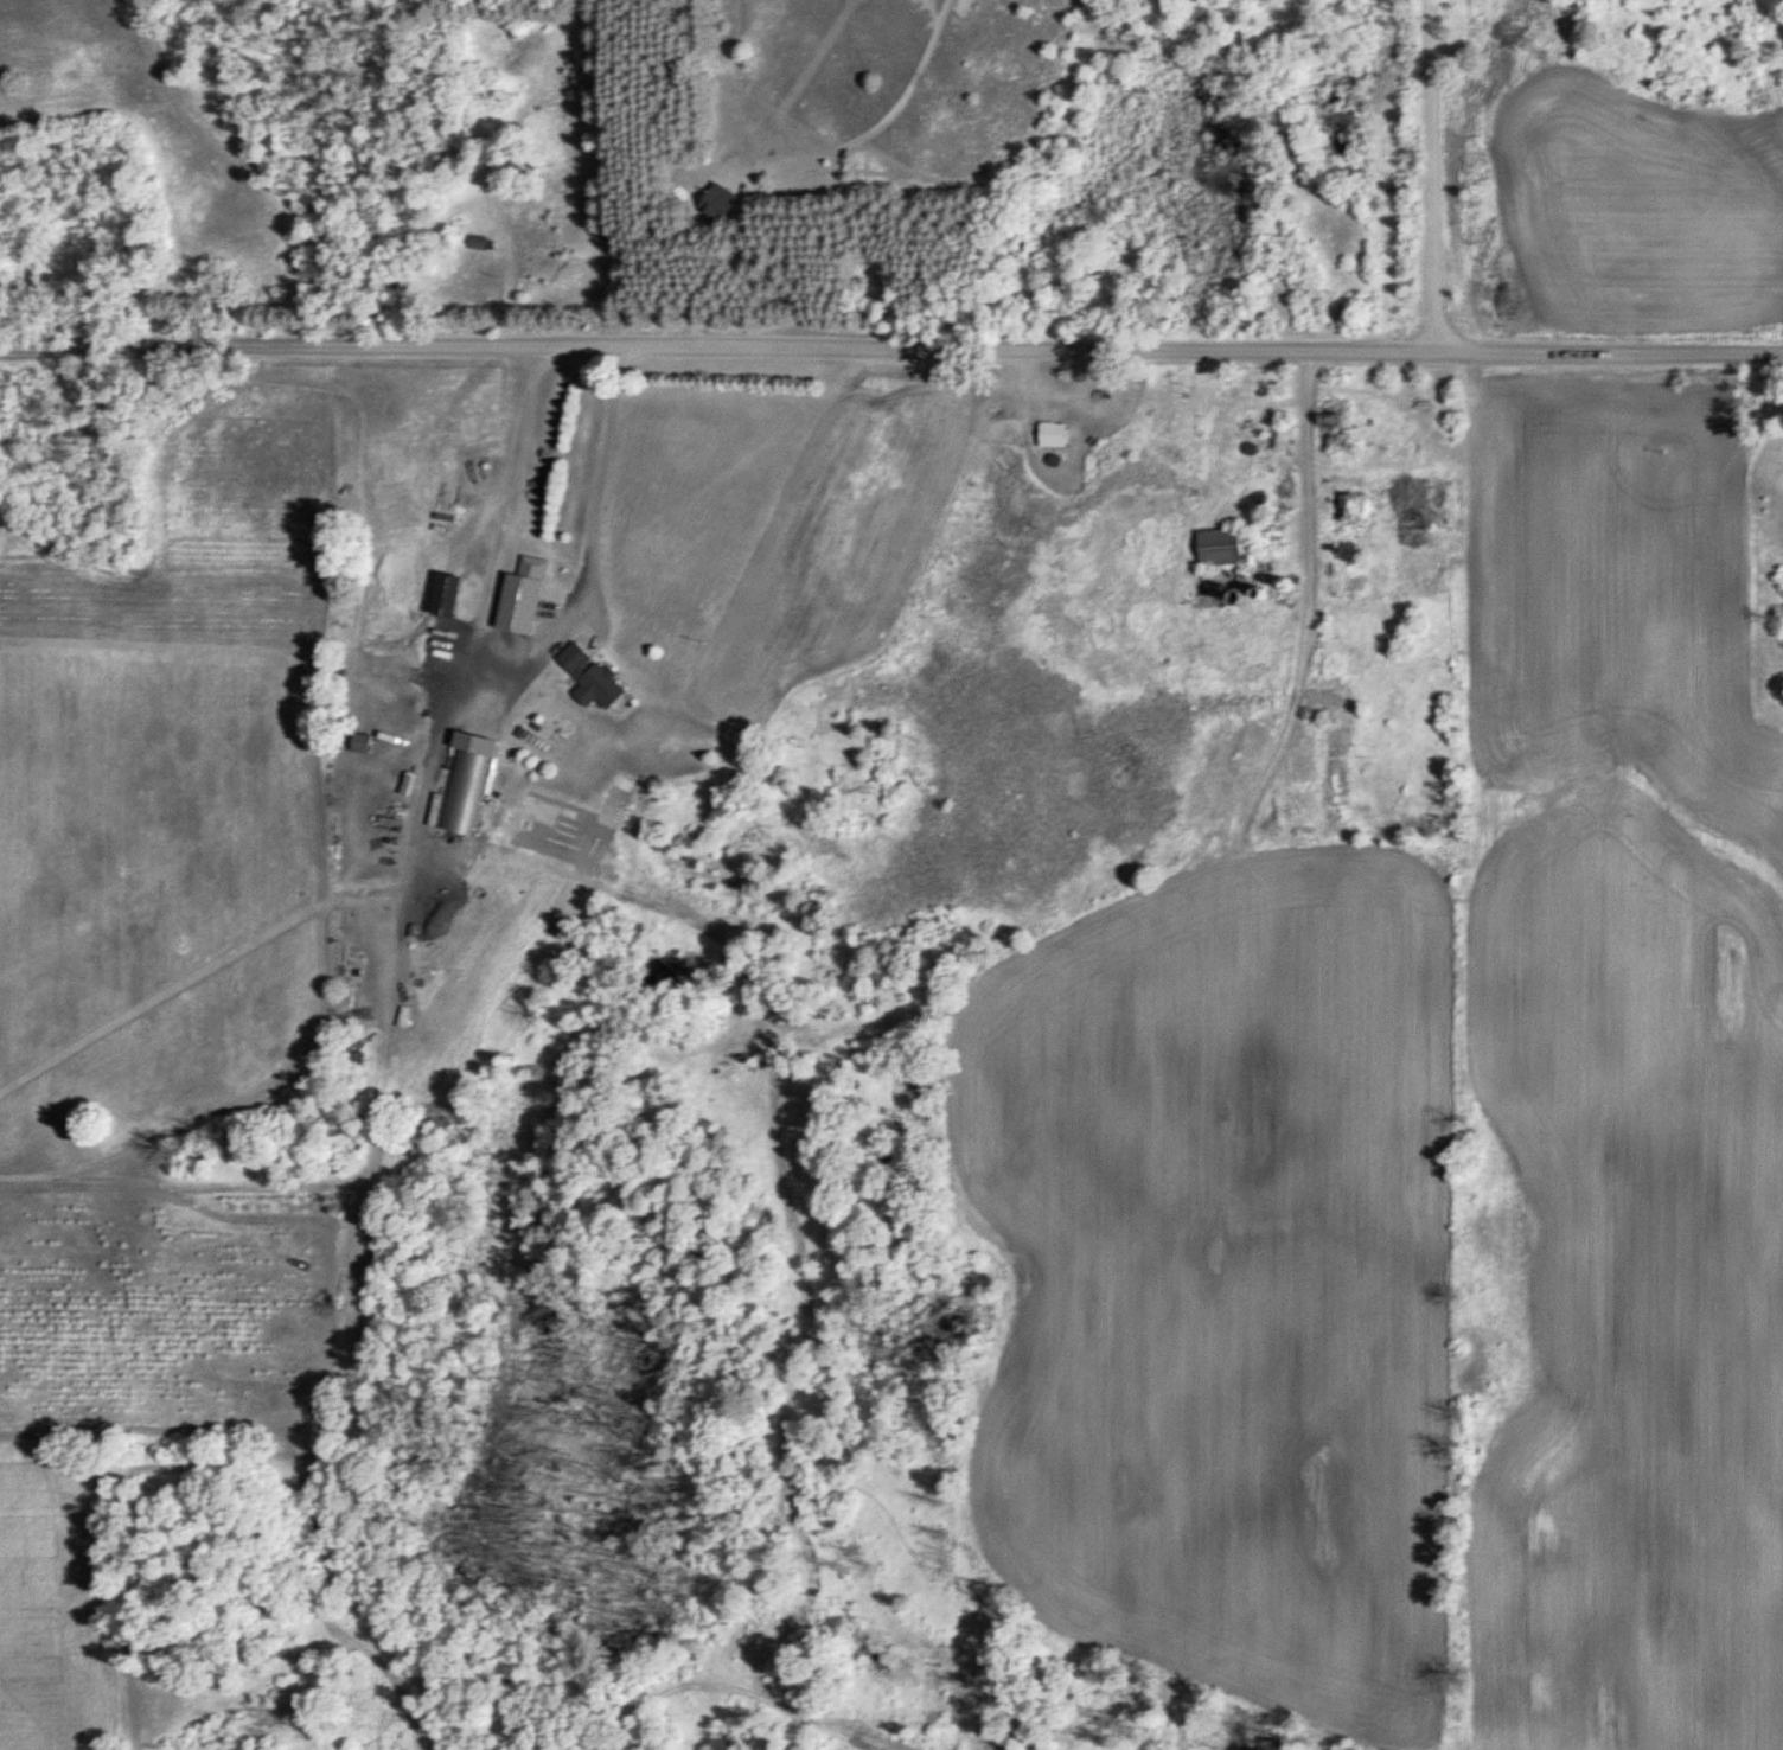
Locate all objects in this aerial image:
road: (1431, 175)
building: (717, 202)
building: (479, 242)
road: (891, 349)
building: (1052, 434)
road: (1290, 456)
building: (1220, 547)
building: (519, 641)
building: (590, 672)
building: (466, 791)

